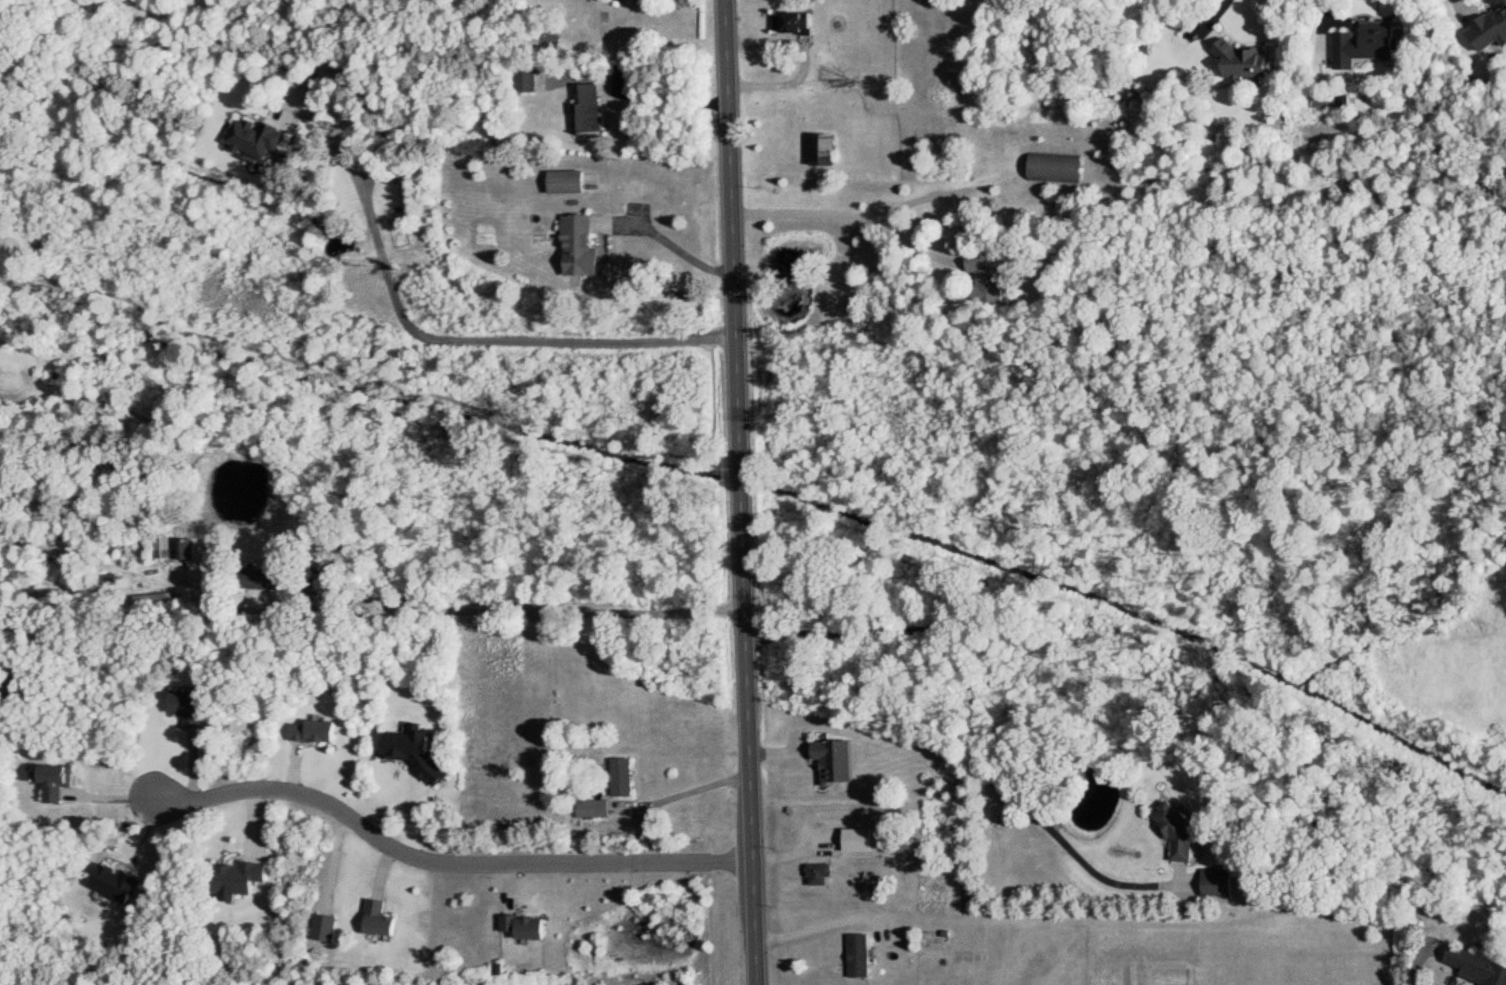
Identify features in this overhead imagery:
building: (795, 24)
building: (1362, 44)
building: (1239, 61)
road: (675, 101)
building: (257, 137)
building: (826, 149)
building: (1051, 169)
road: (840, 216)
road: (674, 246)
building: (983, 277)
road: (438, 341)
road: (739, 492)
building: (184, 549)
road: (525, 611)
building: (187, 706)
road: (974, 713)
building: (316, 732)
building: (418, 753)
building: (837, 762)
building: (56, 781)
road: (684, 799)
road: (444, 865)
building: (822, 875)
building: (1214, 882)
building: (116, 883)
building: (382, 920)
road: (818, 926)
building: (856, 956)
road: (1415, 957)
building: (1472, 968)

